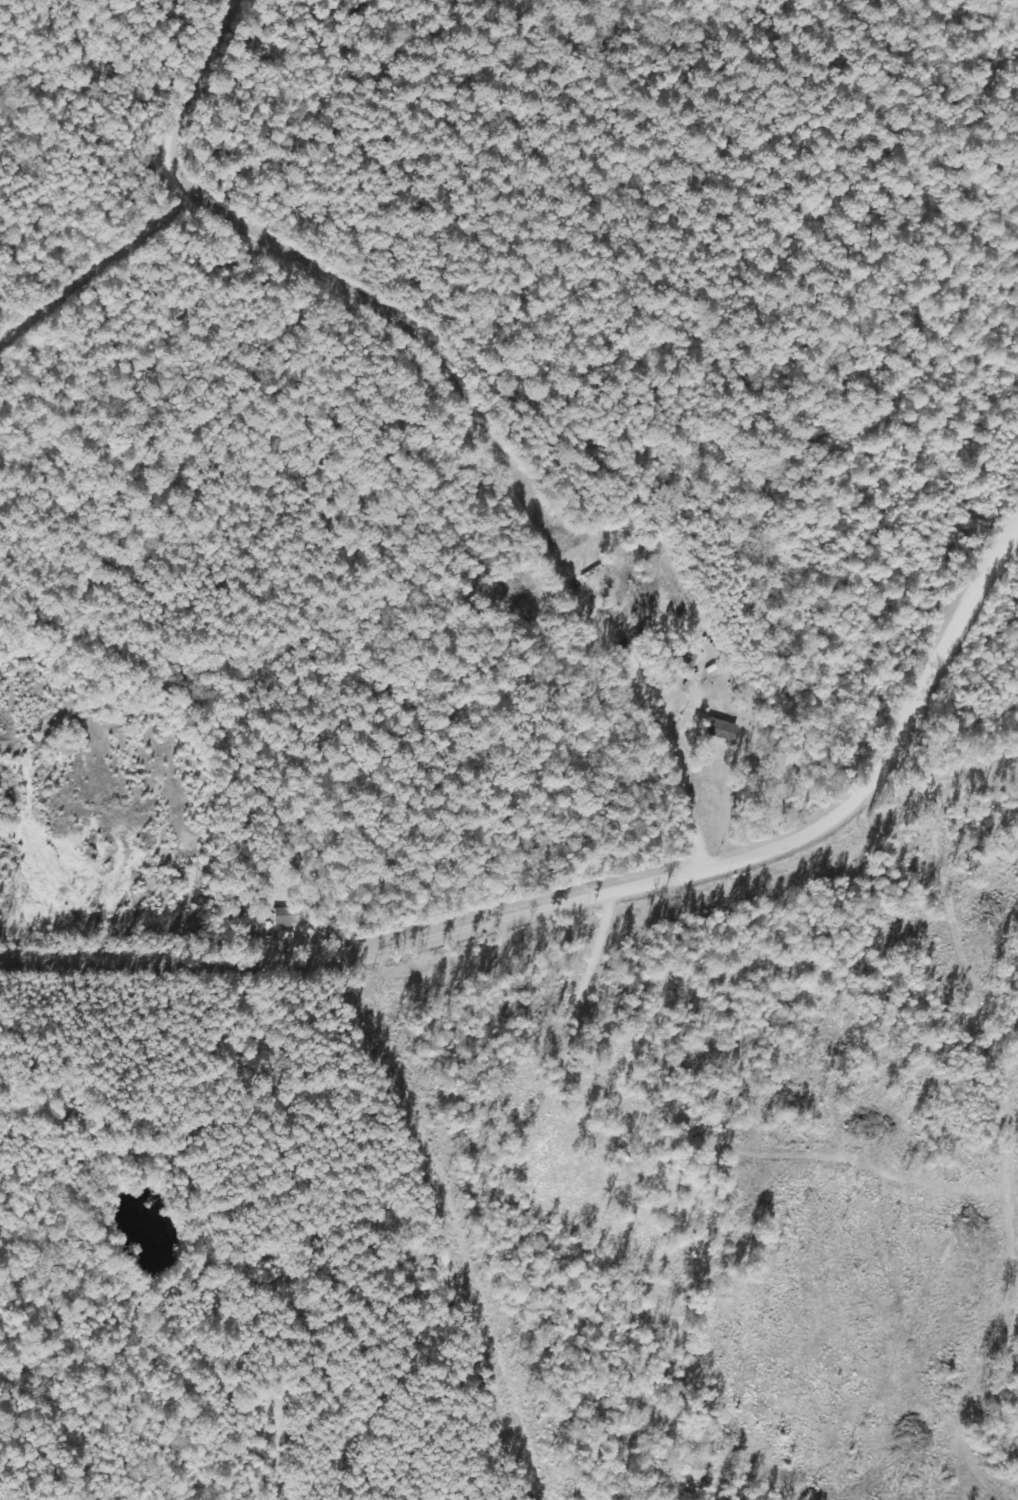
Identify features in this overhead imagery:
road: (27, 385)
road: (458, 436)
building: (588, 555)
building: (604, 588)
road: (578, 862)
building: (285, 918)

